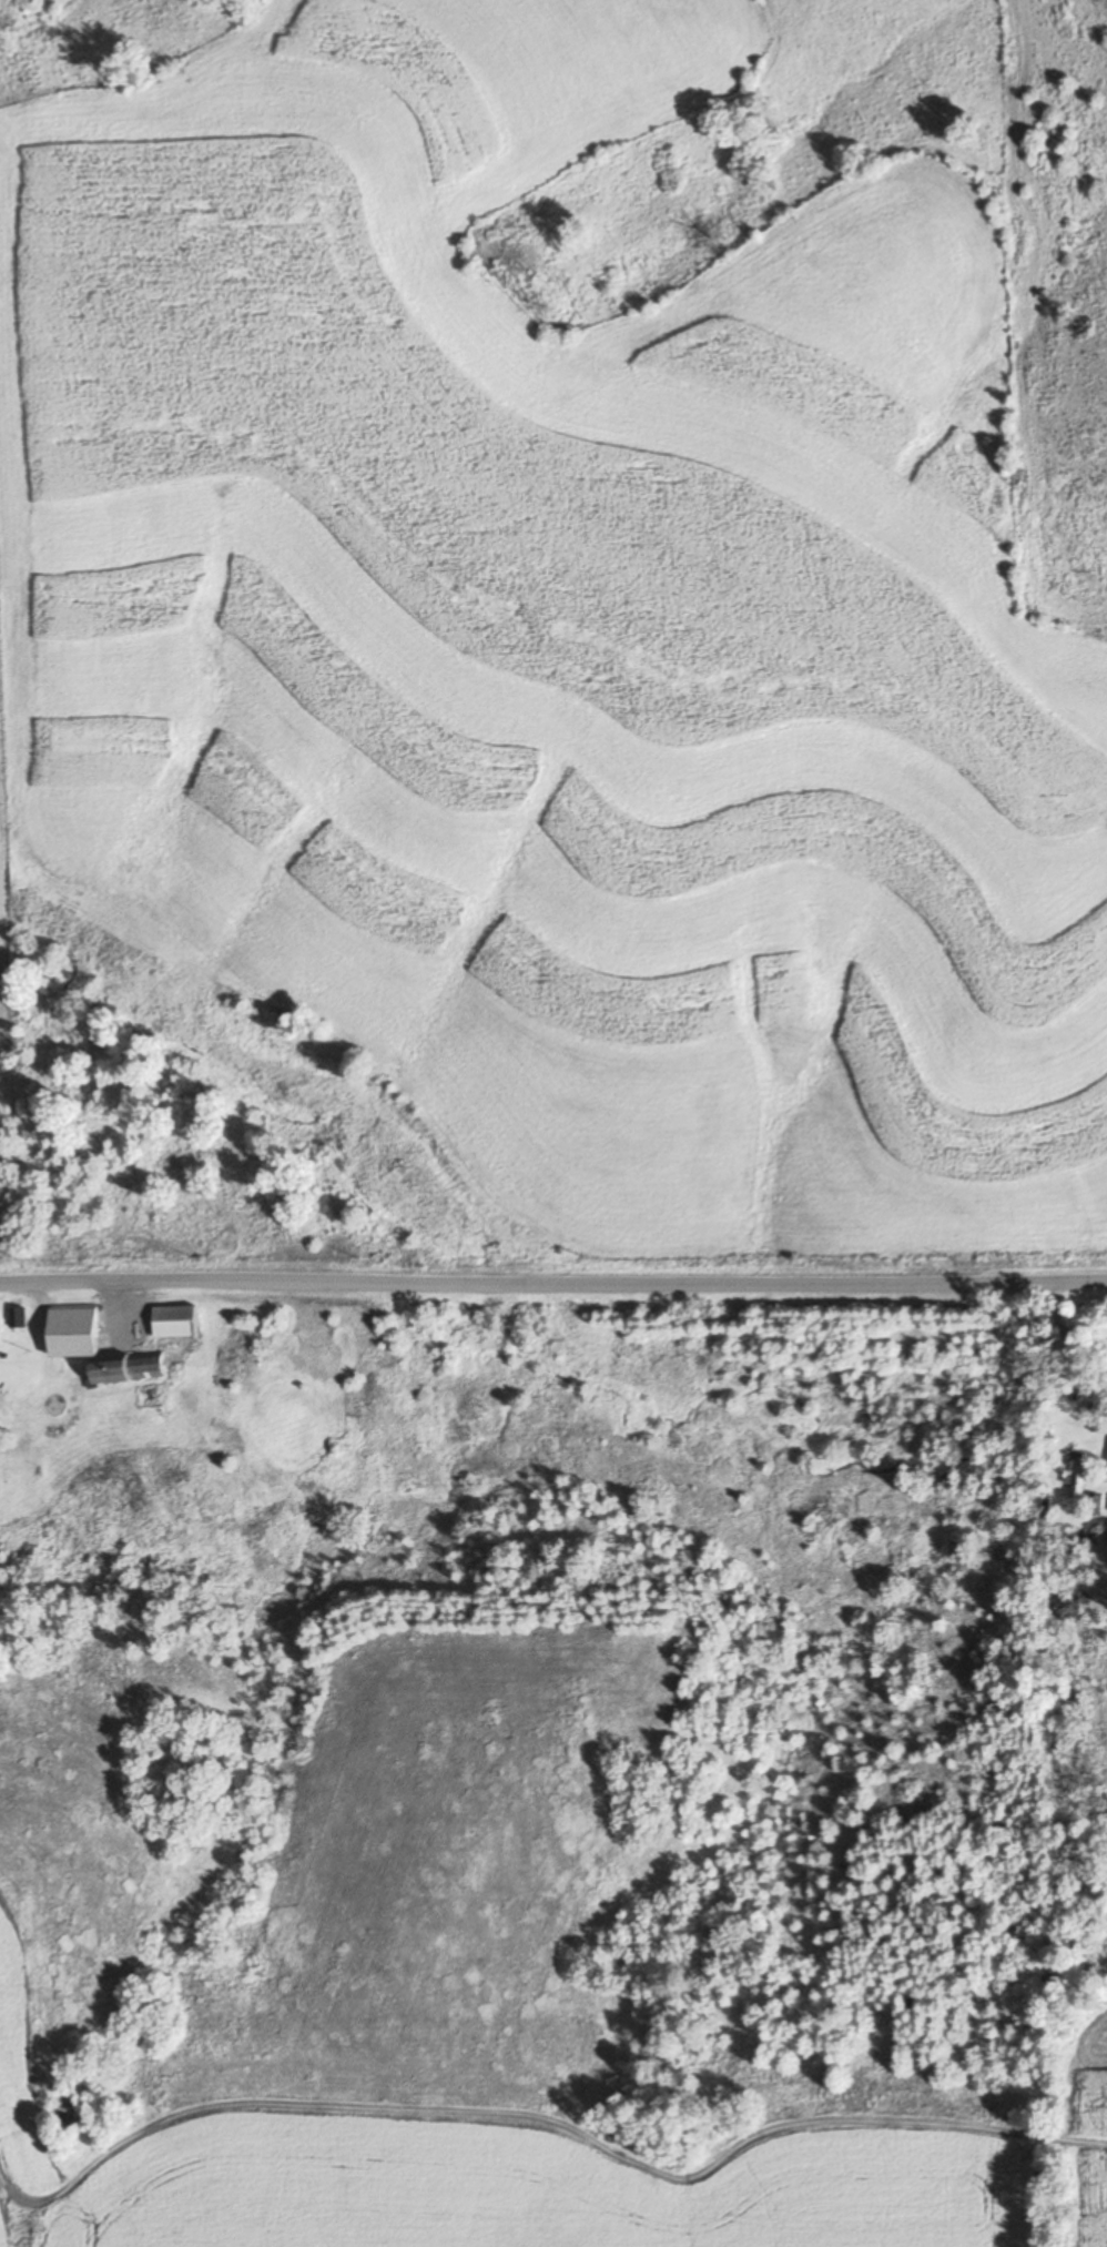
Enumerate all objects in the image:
road: (552, 1288)
building: (174, 1320)
road: (1072, 1337)
building: (93, 1346)
building: (50, 1428)
building: (1078, 1480)
building: (1095, 1502)

